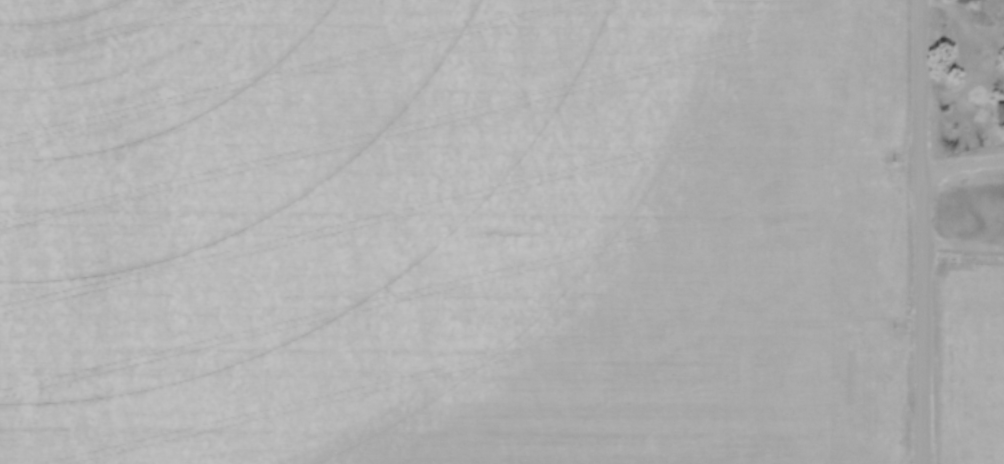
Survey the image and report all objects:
building: (1003, 114)
road: (963, 169)
road: (924, 231)
crop: (454, 232)
road: (964, 250)
crop: (982, 372)

